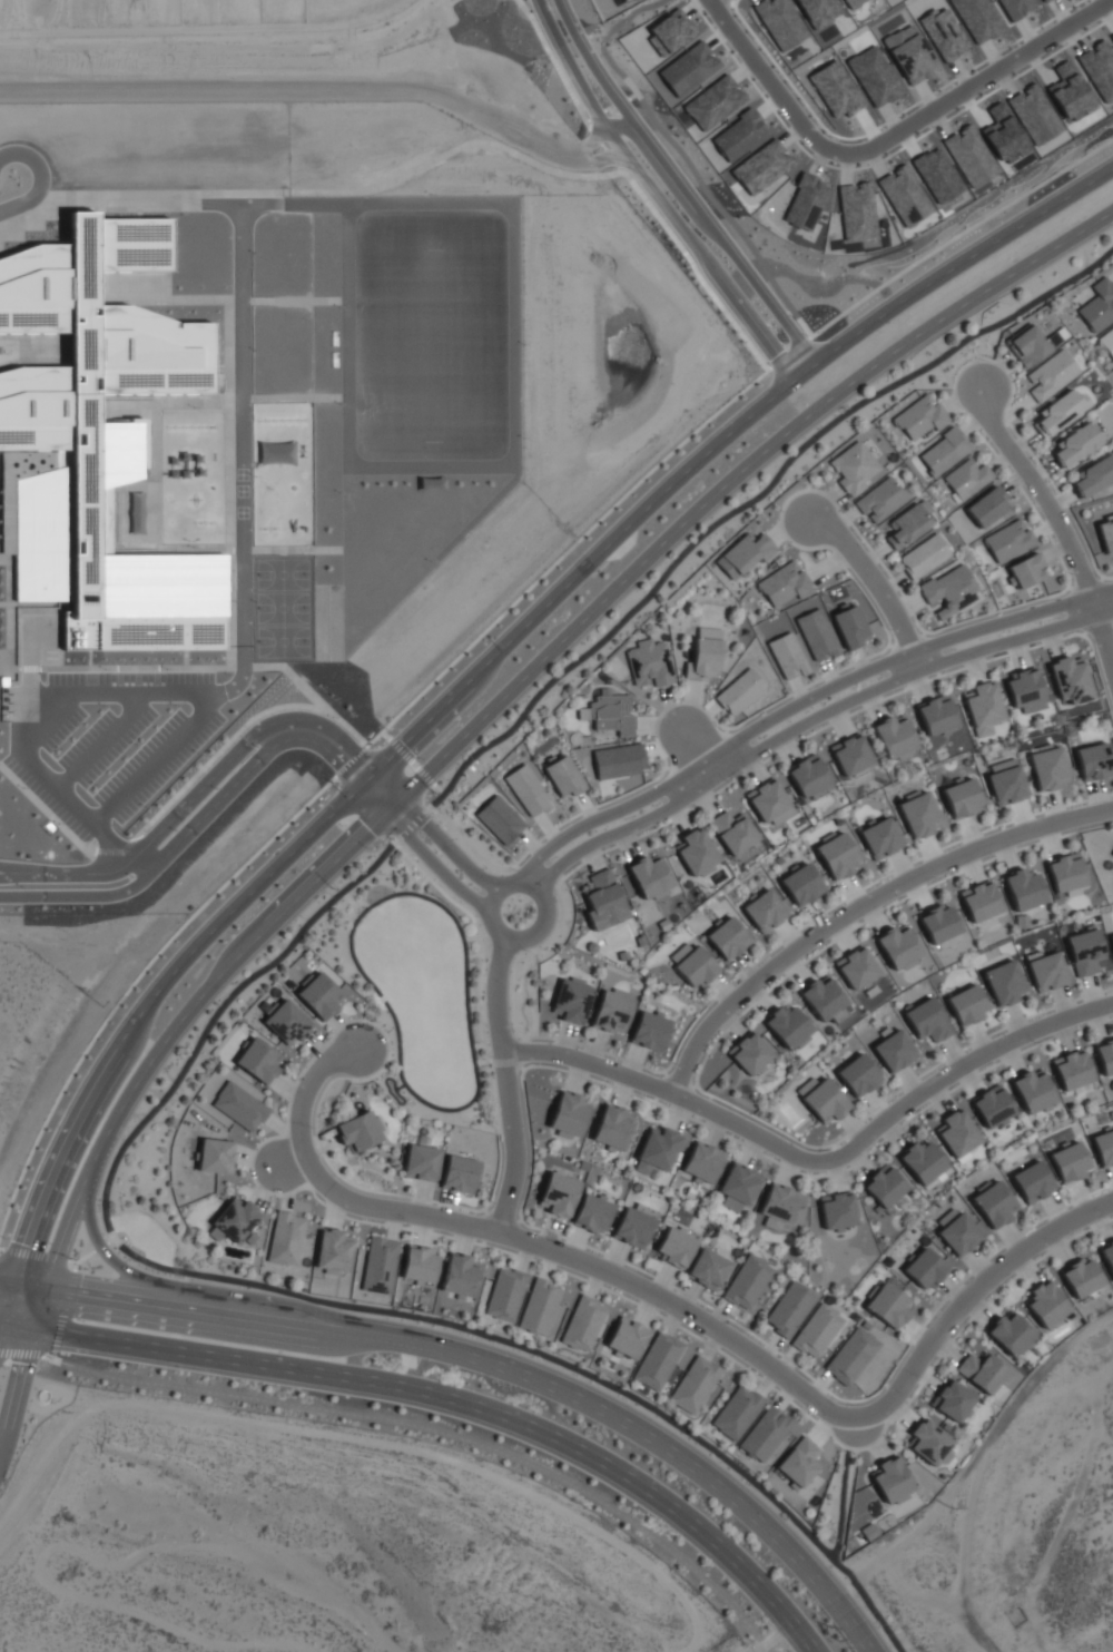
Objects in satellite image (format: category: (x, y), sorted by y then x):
building: (624, 0)
building: (851, 2)
building: (818, 11)
building: (780, 22)
road: (771, 79)
road: (975, 85)
road: (30, 160)
road: (20, 200)
road: (691, 200)
road: (667, 212)
road: (959, 235)
building: (1099, 305)
park: (431, 342)
building: (1107, 342)
building: (1027, 346)
building: (1050, 375)
building: (1060, 411)
building: (920, 417)
building: (97, 444)
building: (1074, 445)
building: (944, 452)
building: (854, 466)
building: (1094, 475)
building: (967, 479)
building: (880, 500)
building: (987, 507)
building: (908, 524)
road: (1061, 525)
building: (1106, 533)
building: (1009, 541)
building: (745, 554)
building: (924, 555)
building: (1027, 571)
building: (785, 584)
road: (875, 587)
building: (949, 591)
building: (849, 627)
building: (817, 635)
road: (493, 655)
building: (703, 656)
building: (788, 656)
building: (650, 663)
building: (1071, 680)
road: (516, 682)
building: (1026, 691)
building: (739, 692)
road: (801, 704)
building: (983, 707)
building: (610, 714)
building: (936, 716)
road: (815, 719)
building: (894, 737)
road: (697, 749)
building: (850, 755)
building: (619, 760)
building: (1094, 761)
road: (351, 764)
building: (1048, 768)
building: (808, 776)
building: (563, 777)
building: (1006, 781)
building: (528, 790)
building: (963, 798)
building: (769, 803)
building: (918, 814)
building: (500, 819)
road: (188, 826)
road: (432, 829)
building: (733, 832)
building: (880, 838)
road: (420, 846)
building: (696, 853)
building: (837, 856)
building: (1065, 873)
building: (649, 876)
building: (801, 885)
building: (1024, 889)
building: (604, 901)
building: (979, 901)
road: (551, 906)
building: (765, 911)
road: (865, 911)
building: (938, 924)
building: (728, 938)
building: (1111, 940)
building: (898, 946)
building: (1085, 952)
building: (693, 964)
building: (856, 967)
building: (1047, 972)
building: (1004, 983)
building: (319, 996)
building: (824, 999)
building: (572, 1001)
building: (966, 1005)
road: (218, 1010)
building: (612, 1011)
building: (927, 1021)
building: (287, 1022)
building: (788, 1026)
building: (650, 1031)
building: (894, 1051)
building: (749, 1054)
building: (1105, 1058)
building: (258, 1060)
building: (1072, 1070)
building: (858, 1075)
road: (943, 1079)
road: (649, 1083)
road: (506, 1088)
building: (1033, 1091)
building: (823, 1099)
building: (239, 1107)
building: (992, 1107)
building: (568, 1115)
building: (613, 1127)
building: (359, 1132)
building: (957, 1132)
building: (1104, 1148)
building: (216, 1156)
building: (422, 1162)
building: (1070, 1162)
building: (702, 1163)
building: (924, 1163)
building: (459, 1174)
building: (1033, 1182)
building: (885, 1186)
building: (738, 1187)
building: (559, 1194)
building: (993, 1203)
building: (837, 1210)
building: (592, 1212)
building: (234, 1220)
building: (633, 1226)
building: (957, 1231)
building: (286, 1238)
road: (523, 1243)
road: (99, 1247)
building: (676, 1247)
building: (333, 1252)
building: (1107, 1256)
road: (59, 1259)
building: (380, 1265)
building: (418, 1265)
road: (8, 1267)
building: (707, 1268)
building: (925, 1268)
traffic signals: (17, 1269)
traffic signals: (52, 1274)
building: (460, 1276)
building: (1082, 1278)
building: (748, 1281)
building: (505, 1295)
road: (968, 1296)
road: (9, 1299)
road: (46, 1304)
building: (1046, 1305)
building: (888, 1306)
building: (540, 1307)
building: (789, 1308)
building: (583, 1324)
road: (1, 1328)
traffic signals: (2, 1329)
building: (817, 1330)
building: (1011, 1333)
road: (1, 1334)
traffic signals: (39, 1334)
building: (627, 1338)
building: (851, 1356)
building: (658, 1360)
road: (492, 1363)
building: (982, 1371)
building: (695, 1384)
road: (917, 1389)
road: (20, 1396)
road: (449, 1399)
building: (954, 1400)
building: (737, 1412)
road: (418, 1427)
building: (765, 1433)
building: (929, 1443)
building: (799, 1462)
building: (892, 1481)
power tower: (838, 1635)

